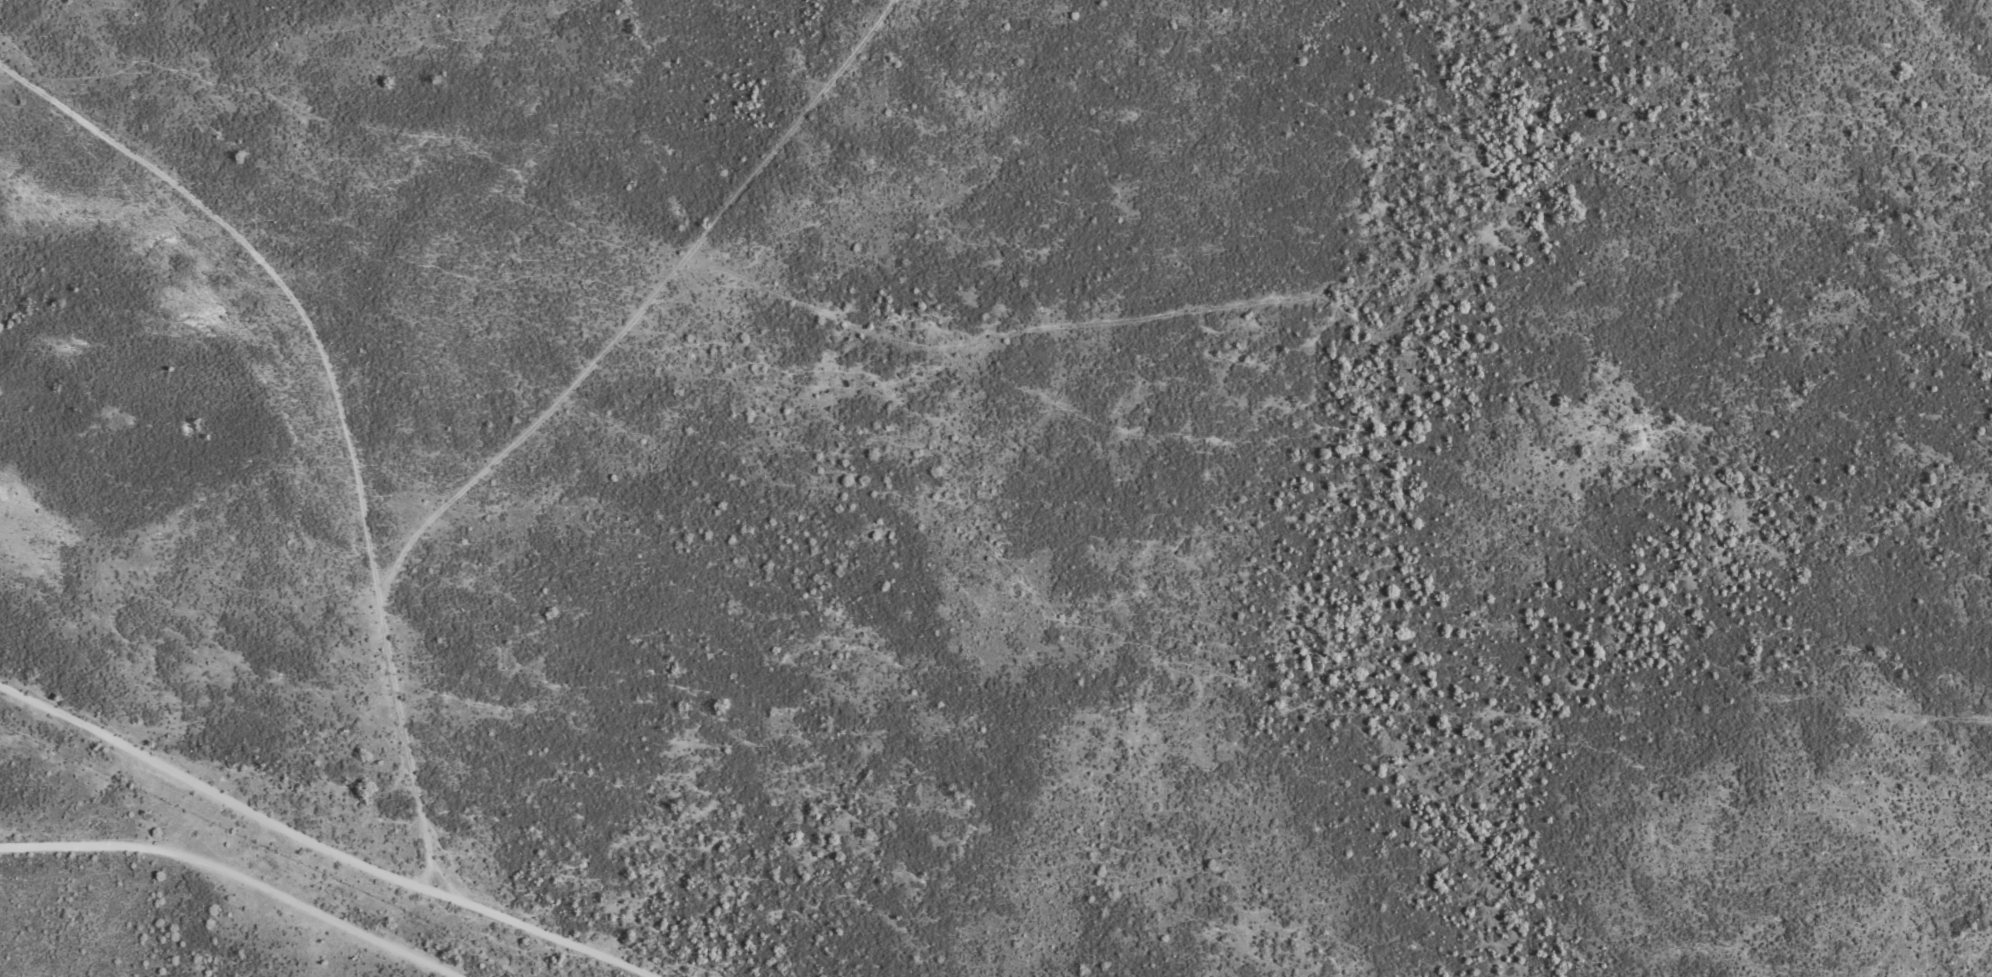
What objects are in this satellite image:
road: (319, 841)
road: (248, 874)

